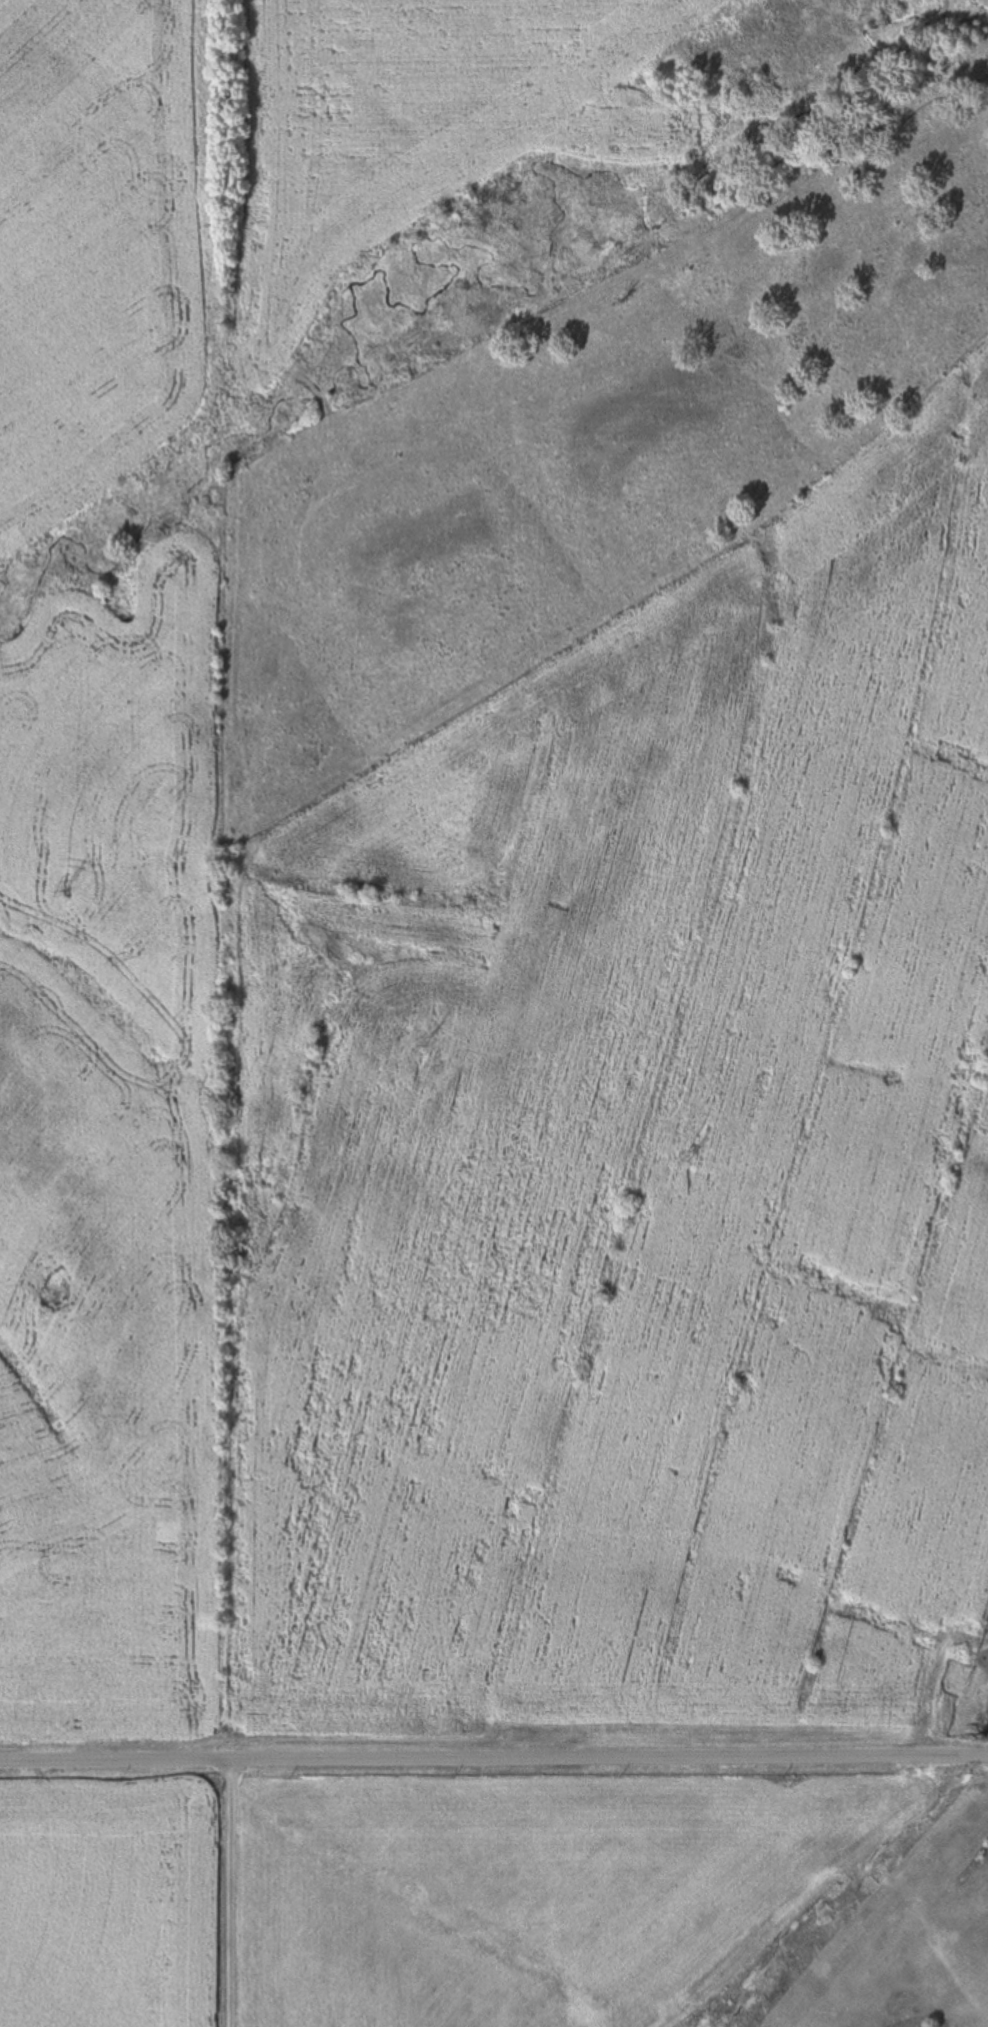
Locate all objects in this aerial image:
building: (620, 1719)
building: (445, 1721)
building: (400, 1722)
building: (674, 1722)
road: (494, 1758)
road: (232, 1892)

